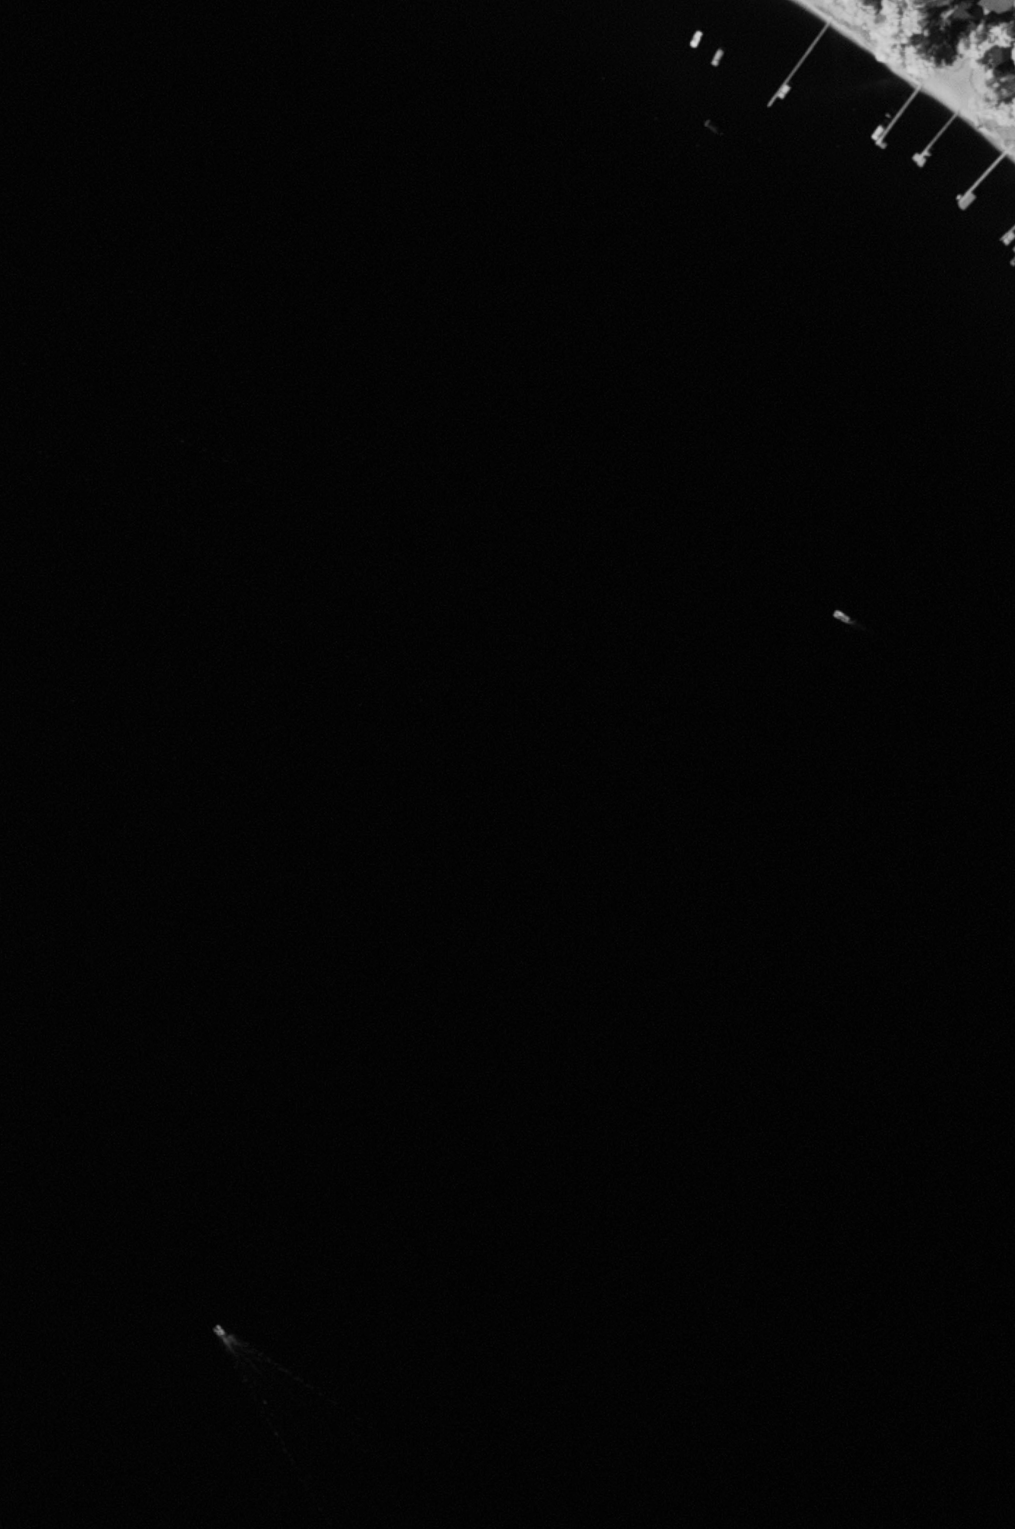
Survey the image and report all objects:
building: (961, 25)

